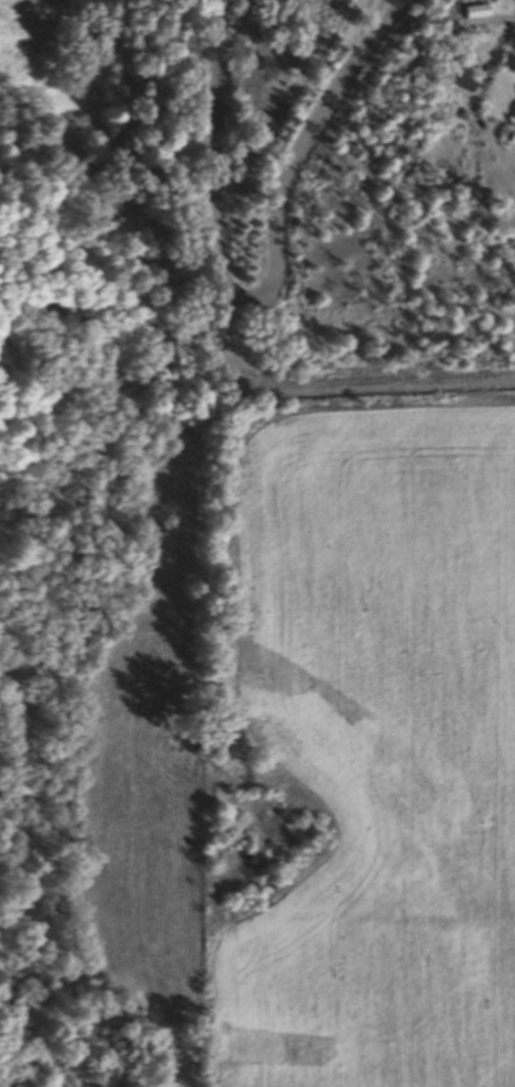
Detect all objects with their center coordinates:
road: (394, 3)
building: (463, 79)
road: (474, 178)
road: (263, 284)

